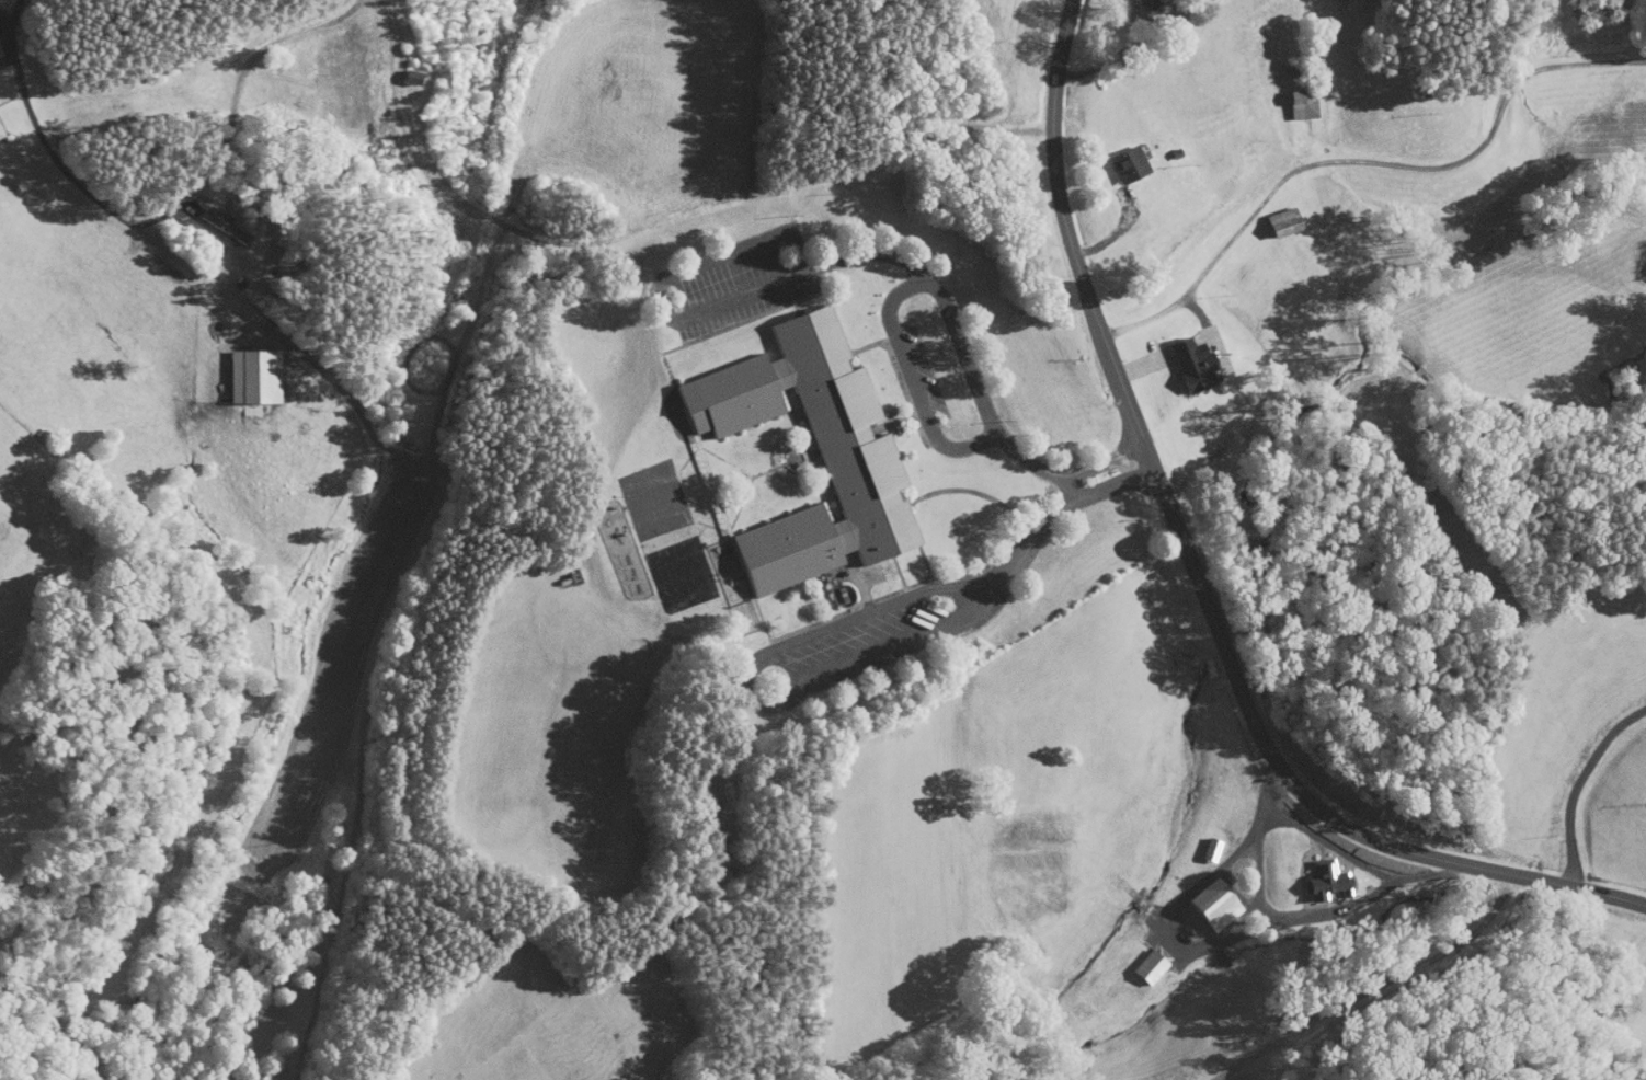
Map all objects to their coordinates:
building: (1136, 2)
road: (5, 13)
road: (1124, 49)
building: (404, 70)
building: (1294, 97)
road: (233, 105)
building: (1120, 158)
road: (1367, 161)
road: (84, 191)
building: (1276, 215)
building: (216, 219)
road: (645, 221)
road: (950, 312)
building: (1186, 358)
building: (245, 370)
road: (913, 379)
building: (851, 455)
road: (1026, 543)
road: (1199, 578)
road: (746, 690)
road: (1578, 784)
building: (1307, 872)
road: (1292, 921)
building: (1135, 957)

